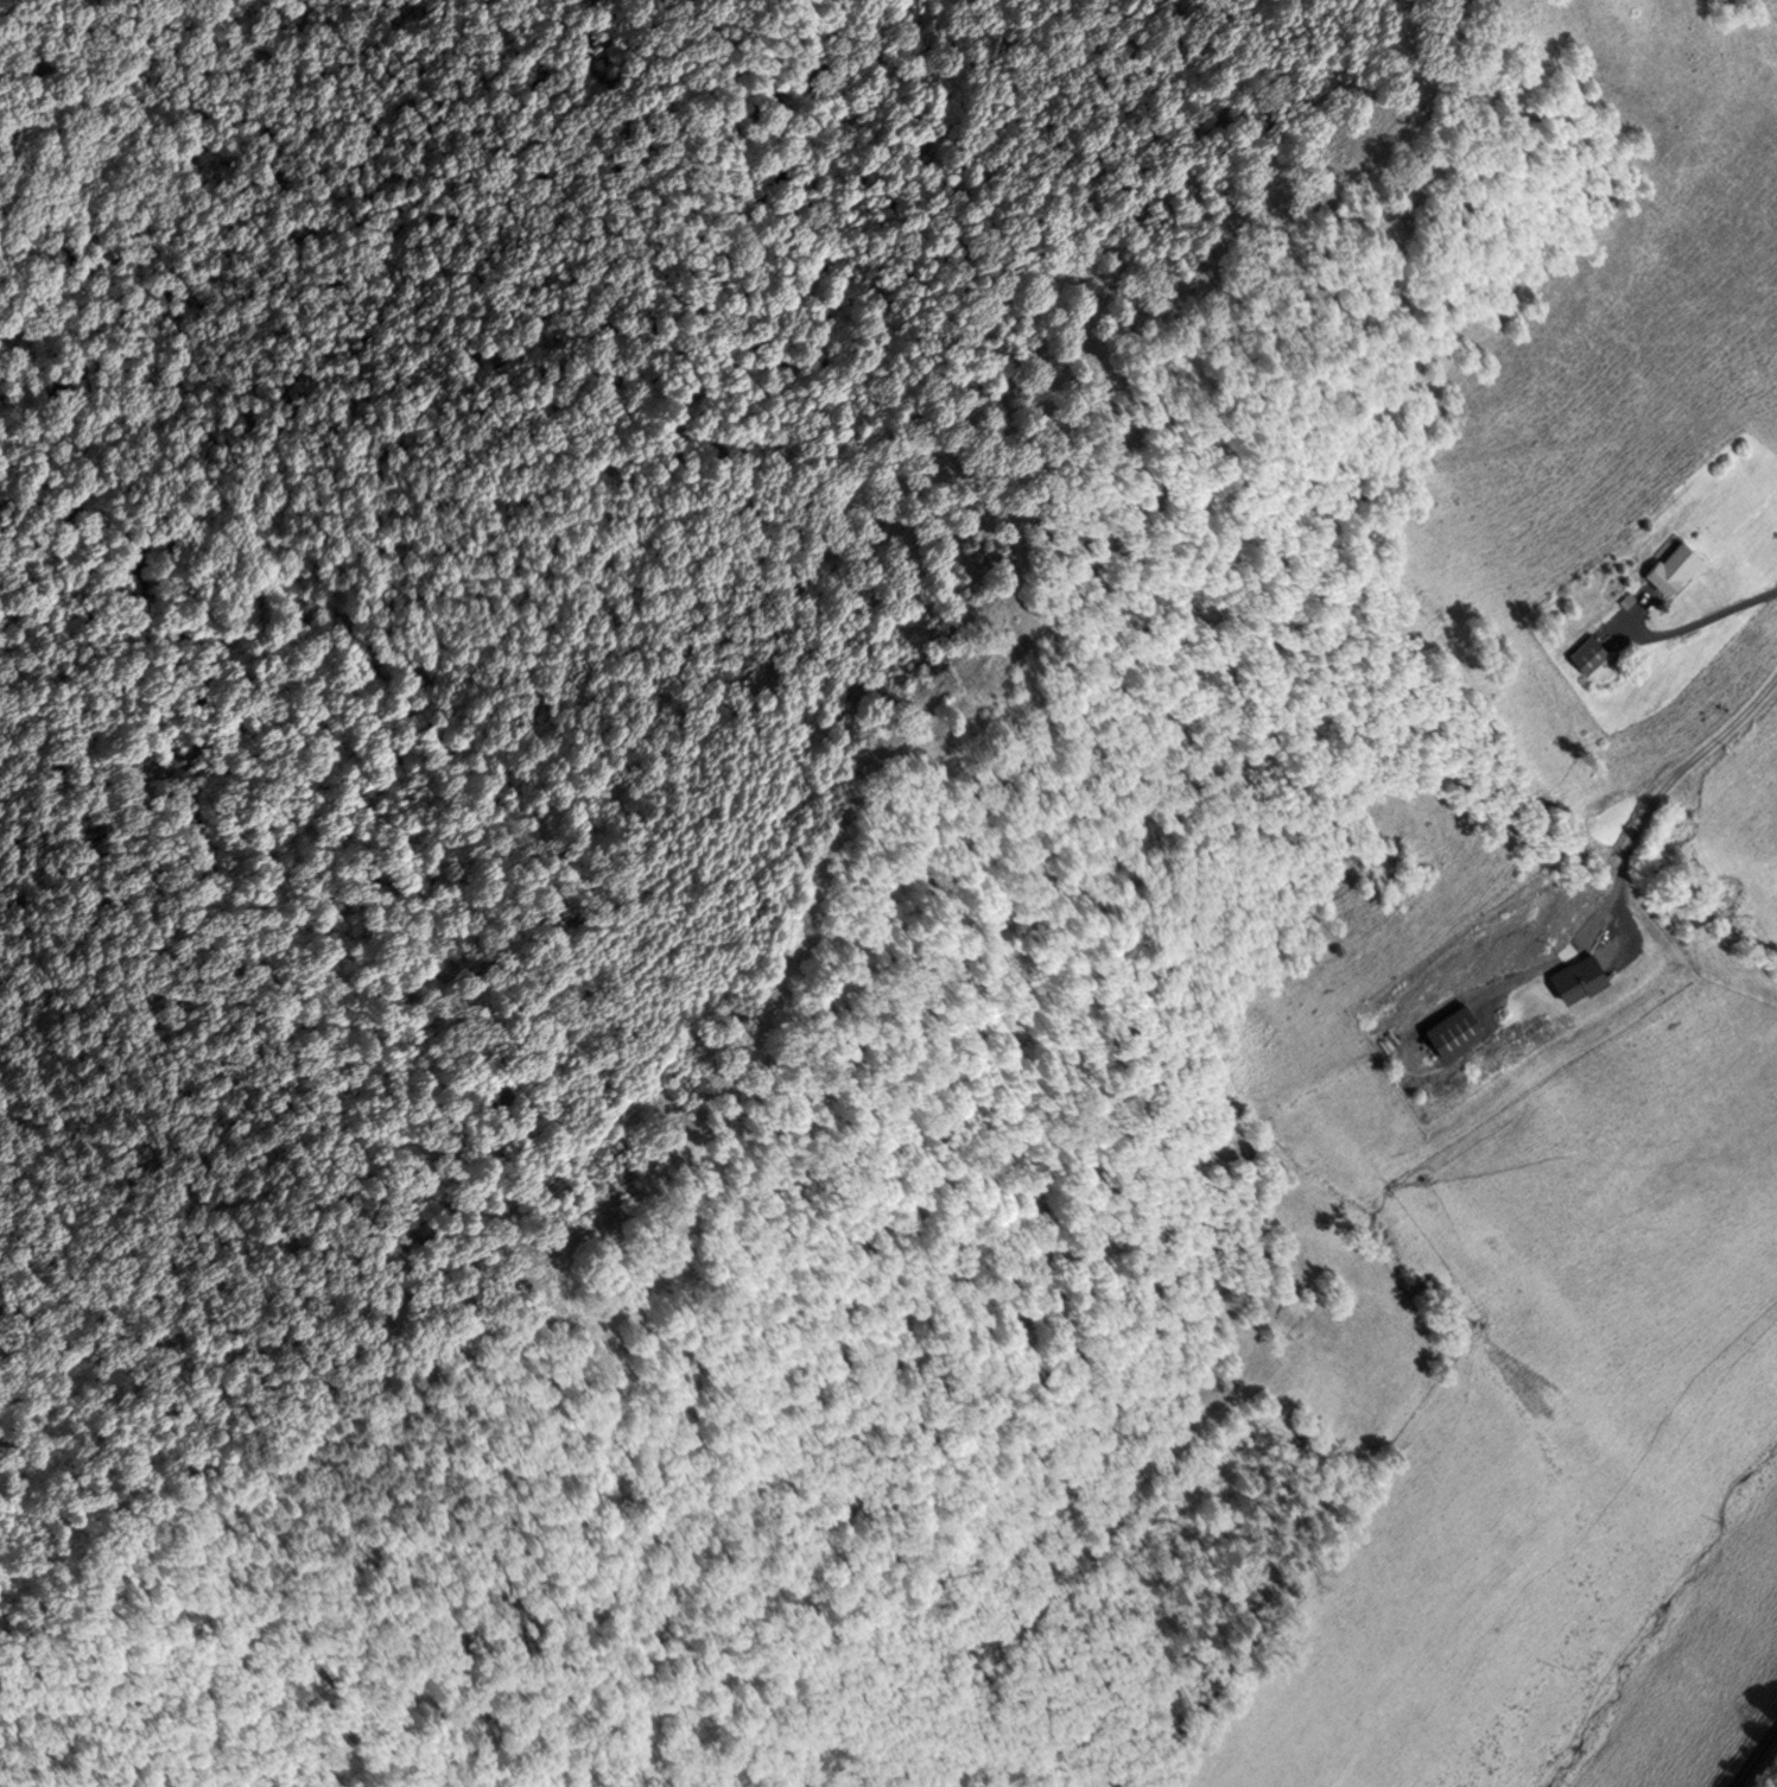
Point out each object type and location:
building: (1670, 565)
road: (1699, 621)
building: (1585, 653)
road: (1654, 798)
building: (1573, 974)
building: (1451, 1026)
road: (1756, 1757)

